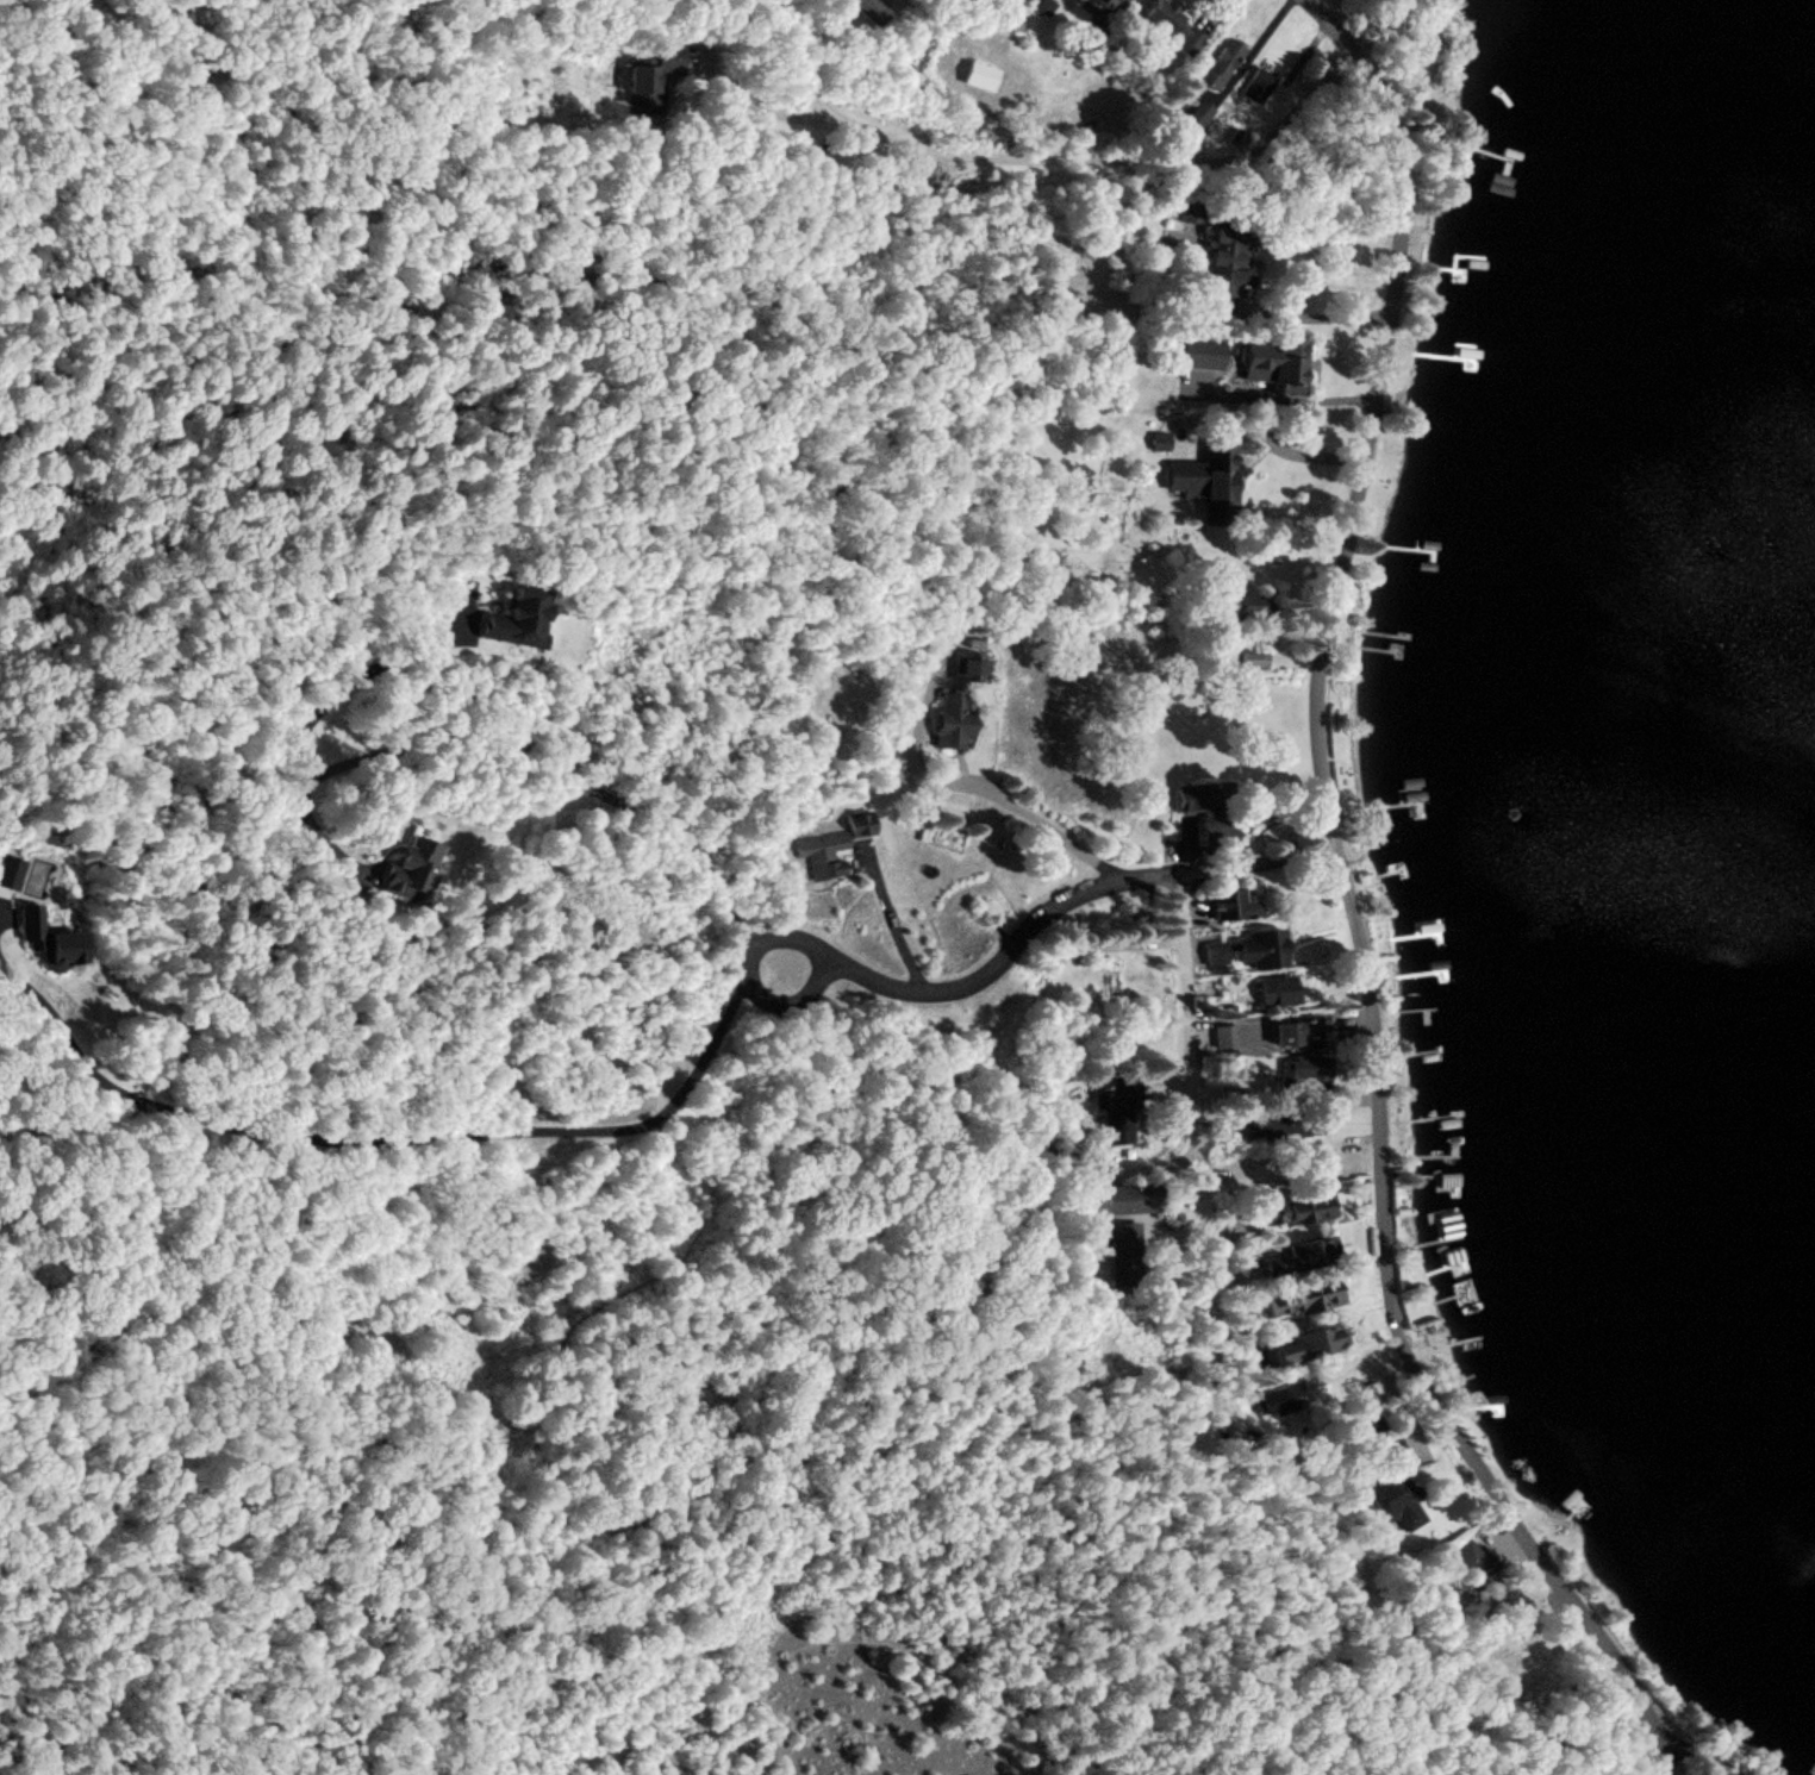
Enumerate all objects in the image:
building: (1104, 4)
building: (872, 11)
building: (1010, 25)
building: (1171, 26)
building: (1220, 63)
building: (651, 77)
building: (981, 77)
building: (1258, 82)
building: (1195, 117)
building: (1189, 213)
building: (1227, 265)
building: (1279, 362)
building: (1206, 480)
building: (1252, 607)
building: (519, 619)
building: (1248, 660)
building: (968, 668)
building: (1242, 712)
building: (953, 723)
building: (1206, 811)
building: (831, 845)
road: (1245, 858)
building: (413, 868)
building: (10, 871)
building: (1233, 906)
road: (1353, 907)
building: (49, 940)
building: (1261, 946)
road: (996, 958)
road: (743, 981)
building: (1279, 989)
building: (1303, 1032)
building: (1223, 1033)
building: (1304, 1070)
road: (1196, 1085)
building: (1122, 1108)
building: (1284, 1123)
building: (1320, 1165)
building: (1128, 1199)
building: (1297, 1208)
building: (1123, 1254)
building: (1298, 1257)
building: (1304, 1298)
building: (1309, 1345)
road: (562, 1365)
building: (1396, 1504)
building: (1573, 1505)
building: (1471, 1561)
road: (1035, 1663)
road: (168, 1696)
road: (631, 1751)
road: (24, 1755)
building: (1813, 1770)

